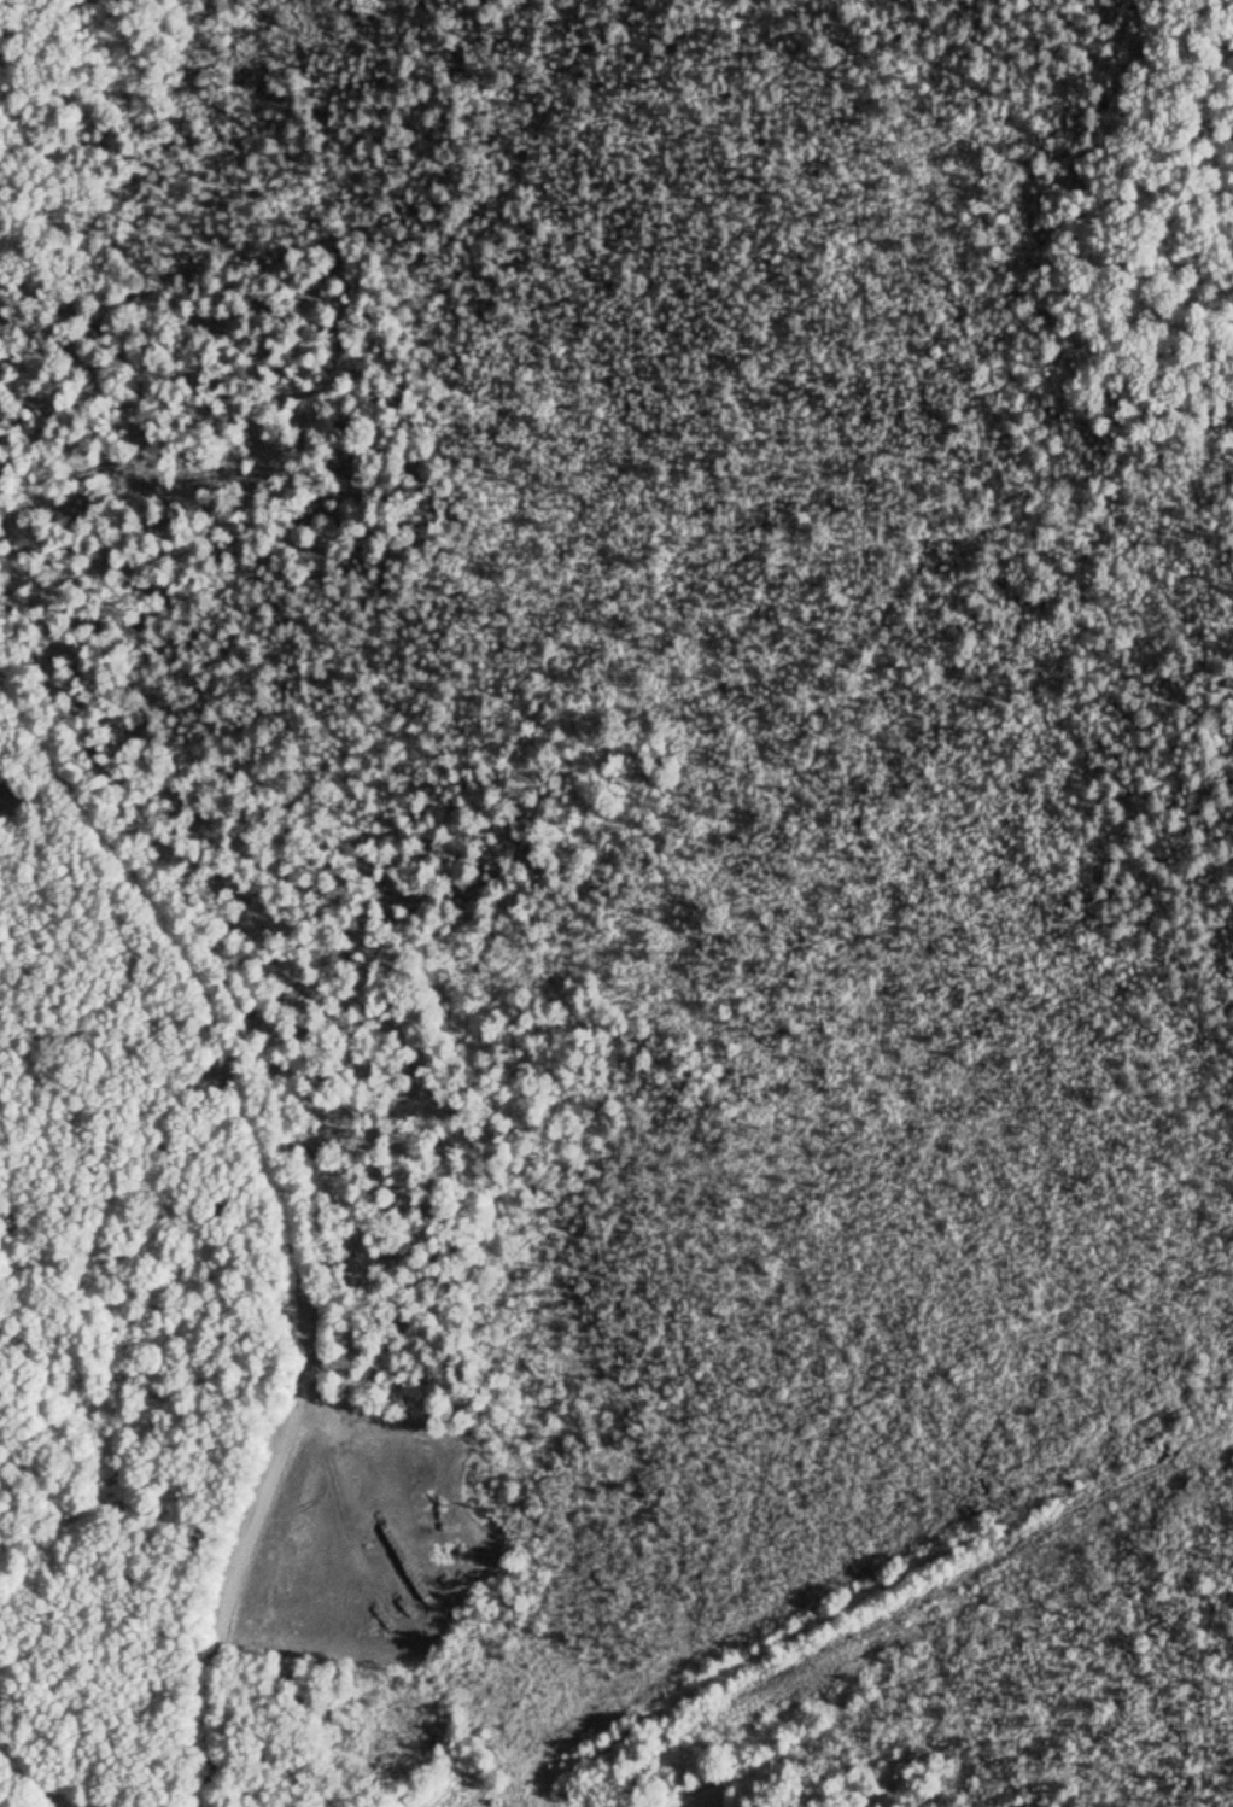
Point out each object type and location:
road: (285, 1205)
road: (360, 1457)

